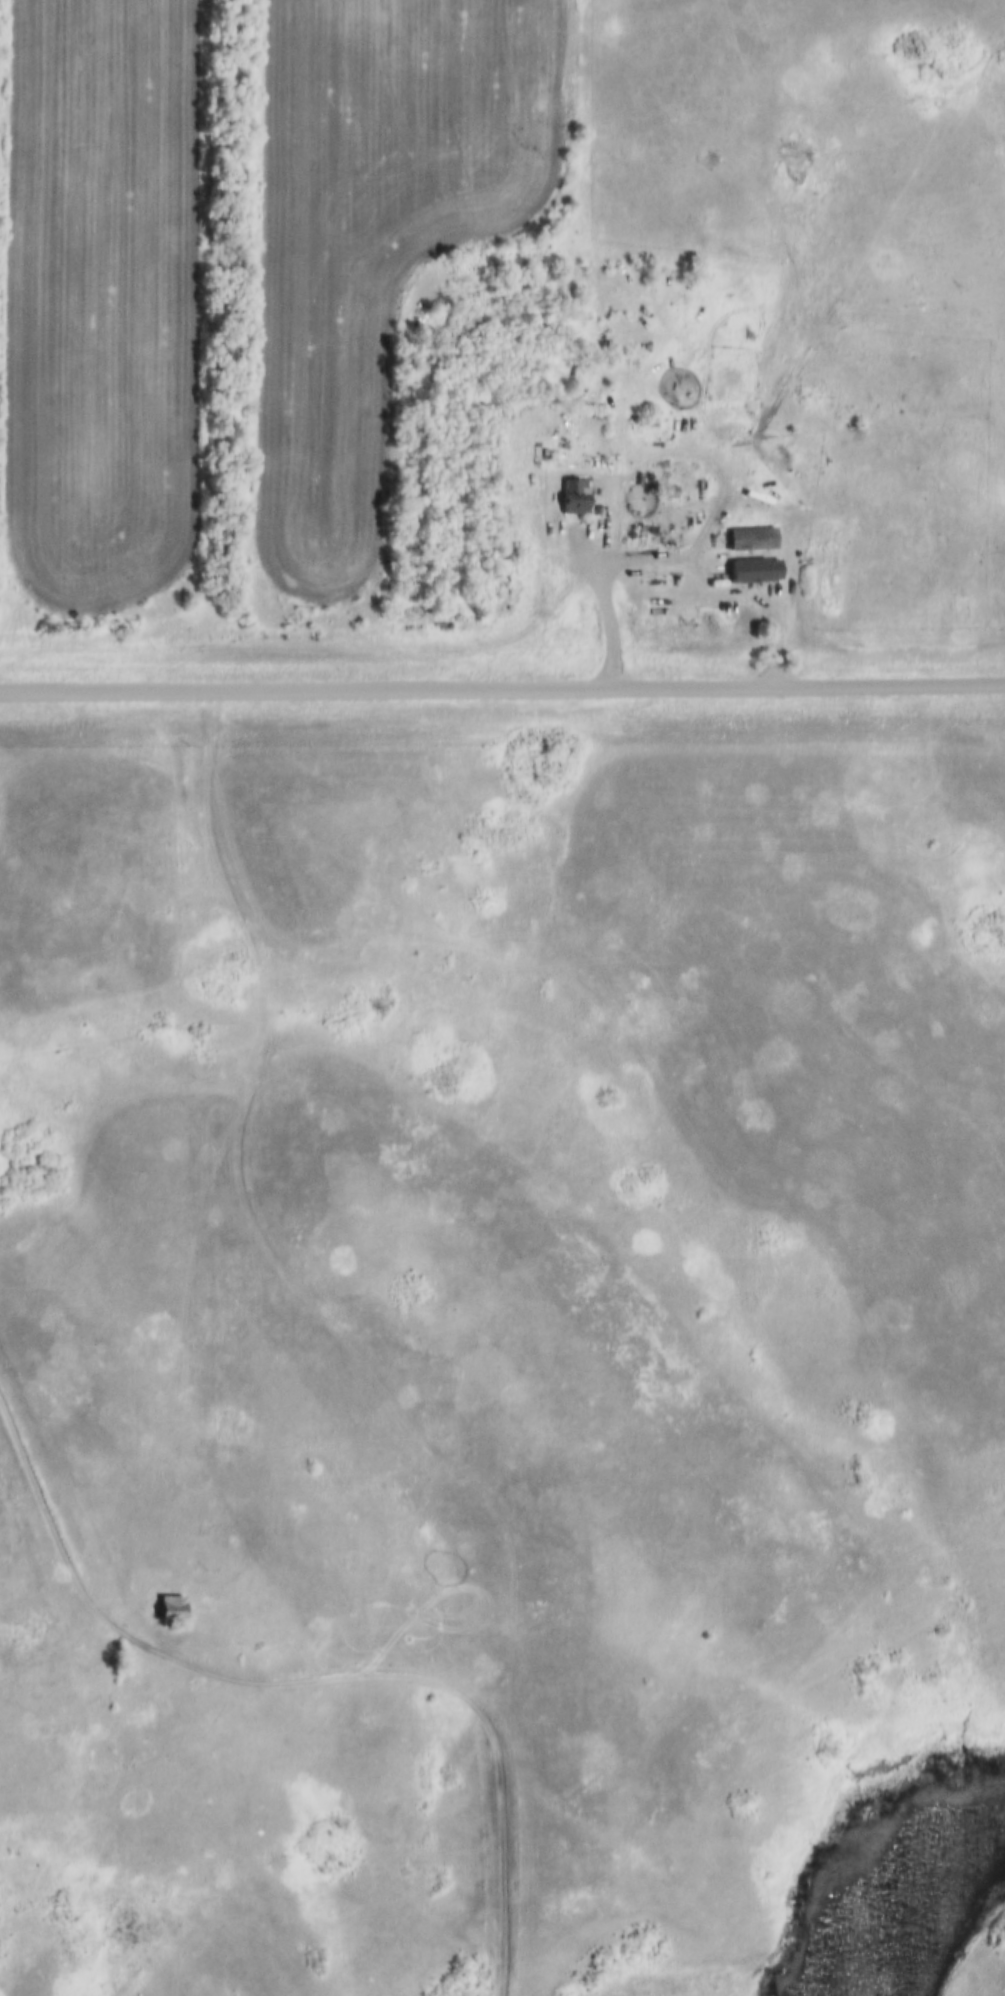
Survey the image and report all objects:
building: (735, 409)
building: (726, 418)
building: (671, 485)
building: (580, 491)
building: (605, 505)
building: (759, 532)
road: (672, 558)
building: (760, 563)
building: (515, 589)
road: (502, 693)
road: (187, 1148)
building: (178, 1602)
building: (169, 1609)
building: (23, 1632)
road: (312, 1680)

